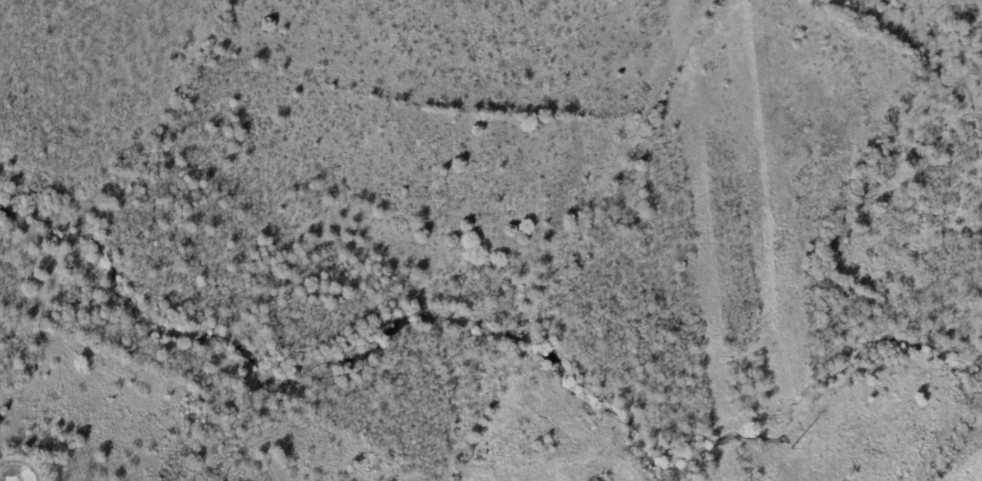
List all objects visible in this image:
power tower: (790, 447)

